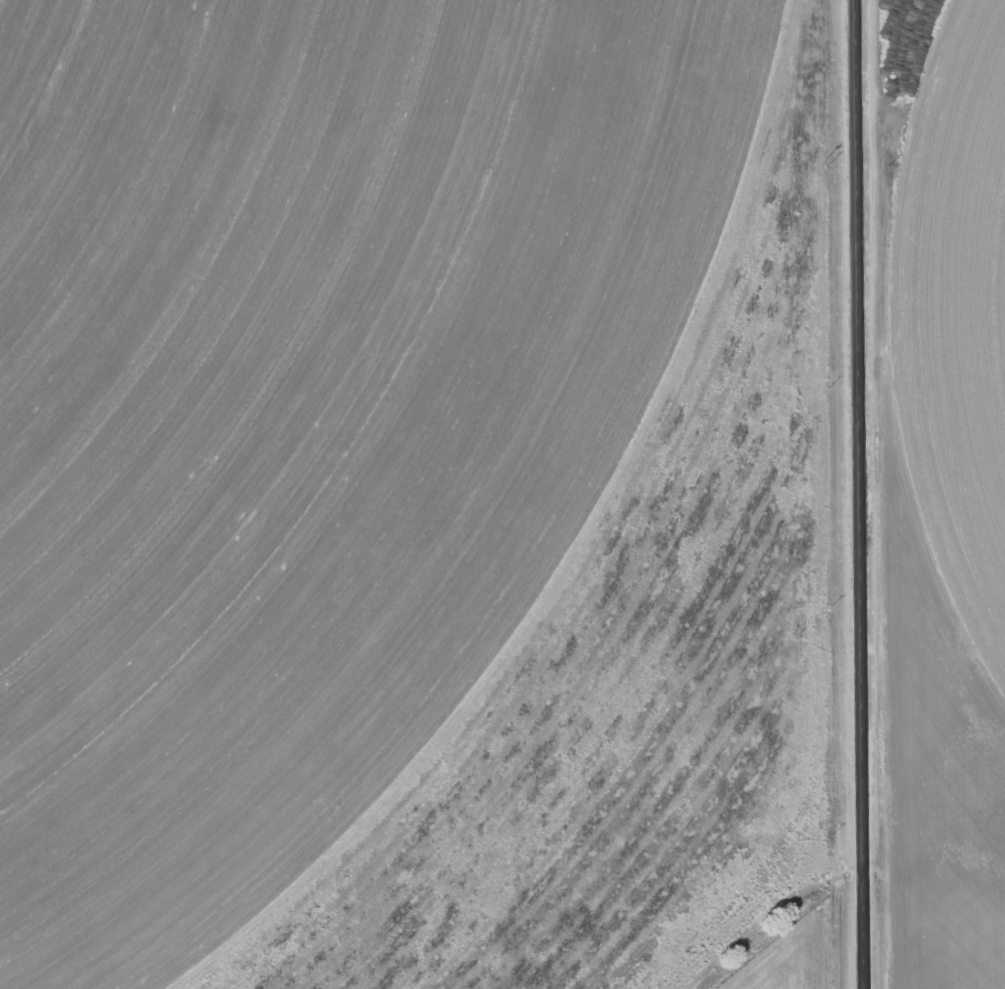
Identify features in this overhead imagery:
road: (859, 494)

